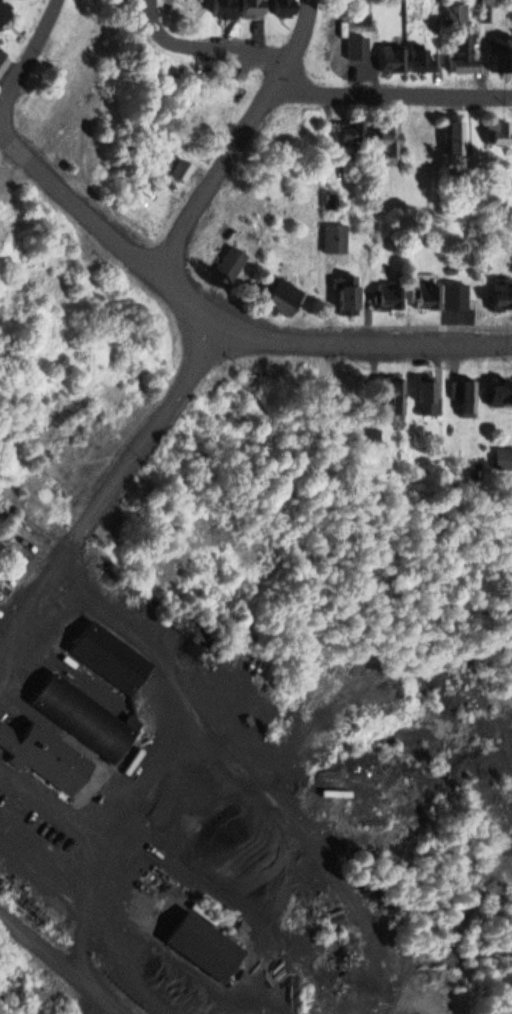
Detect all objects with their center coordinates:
building: (192, 5)
building: (282, 6)
building: (224, 8)
building: (253, 8)
building: (4, 9)
building: (454, 14)
road: (215, 42)
building: (462, 51)
building: (502, 55)
road: (28, 56)
building: (392, 58)
building: (419, 58)
building: (3, 62)
road: (395, 89)
building: (350, 130)
building: (498, 131)
road: (248, 136)
building: (453, 136)
building: (387, 140)
building: (333, 237)
building: (230, 261)
building: (425, 292)
building: (389, 294)
building: (453, 295)
building: (501, 295)
building: (282, 296)
building: (347, 298)
road: (224, 306)
building: (390, 392)
building: (500, 392)
building: (426, 394)
building: (467, 396)
road: (153, 437)
building: (502, 458)
road: (33, 614)
building: (109, 656)
road: (171, 688)
building: (84, 717)
building: (45, 756)
road: (49, 792)
road: (96, 895)
building: (204, 943)
road: (68, 959)
road: (90, 995)

